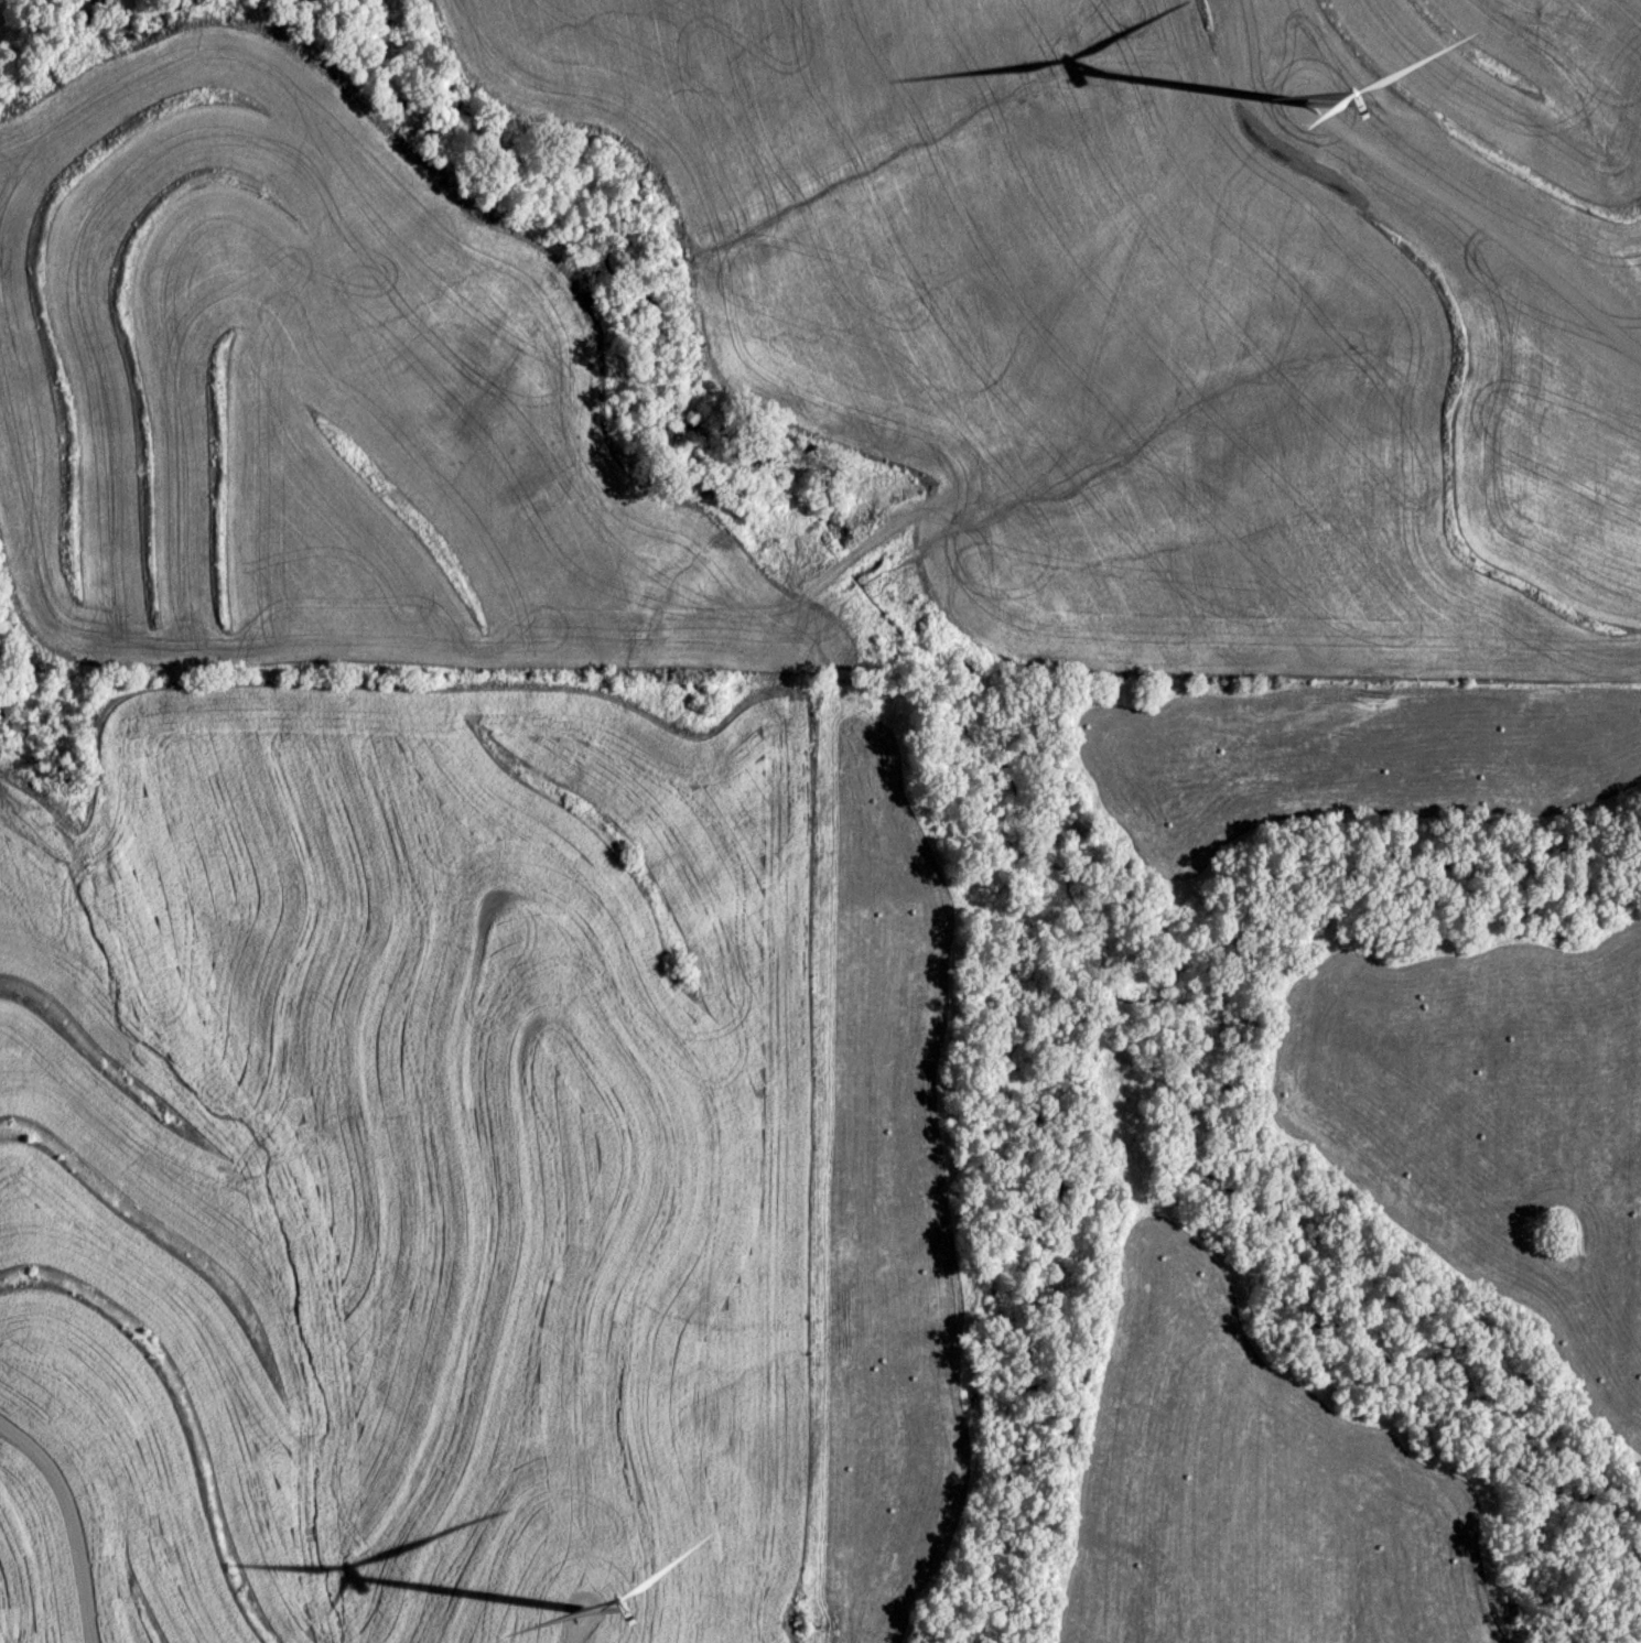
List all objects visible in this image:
wind turbine: (1322, 106)
wind turbine: (582, 1597)

